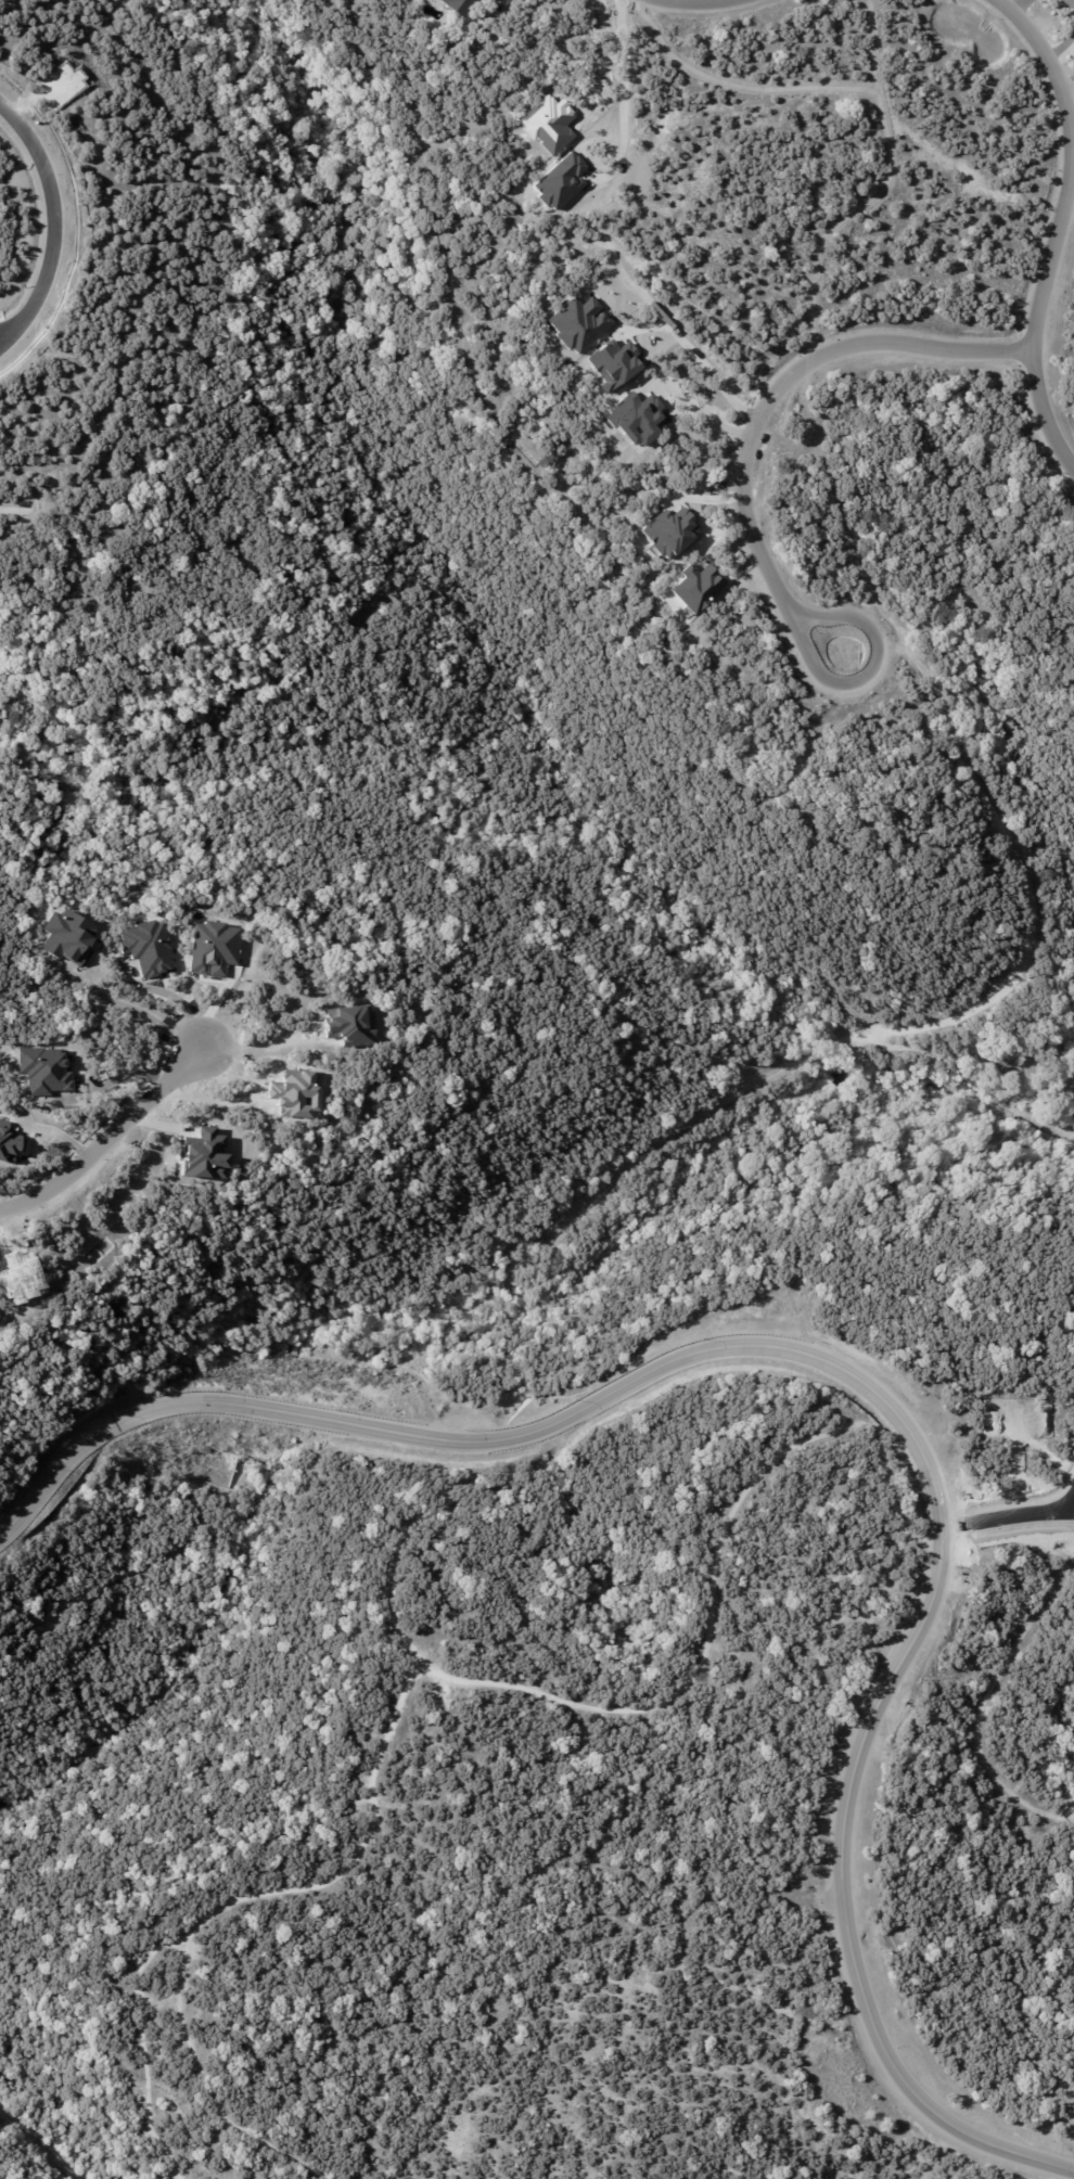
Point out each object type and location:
road: (703, 3)
building: (457, 5)
road: (611, 64)
road: (737, 85)
road: (1065, 89)
road: (874, 192)
road: (57, 209)
road: (1061, 227)
road: (5, 328)
road: (5, 335)
road: (698, 357)
road: (695, 410)
road: (738, 494)
road: (145, 1015)
road: (266, 1048)
building: (1059, 1049)
building: (1071, 1084)
road: (108, 1141)
road: (866, 1384)
road: (1008, 1518)

